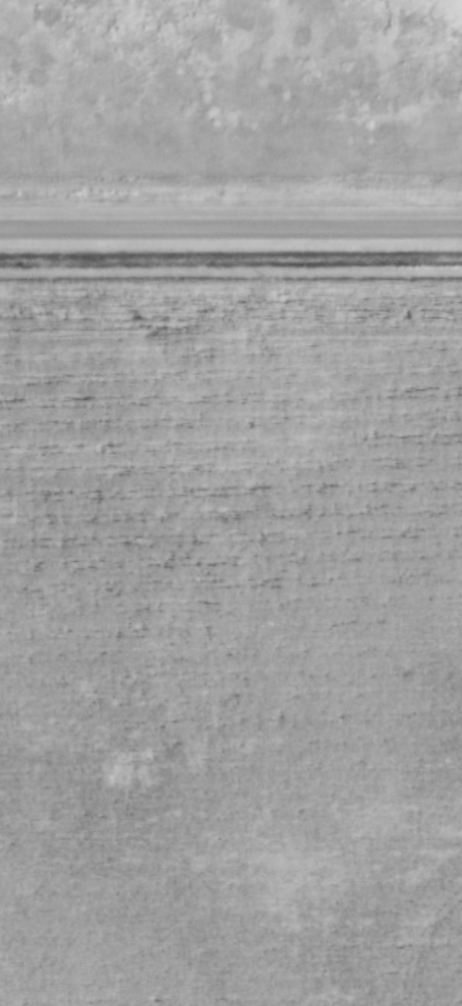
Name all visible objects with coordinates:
road: (231, 235)

